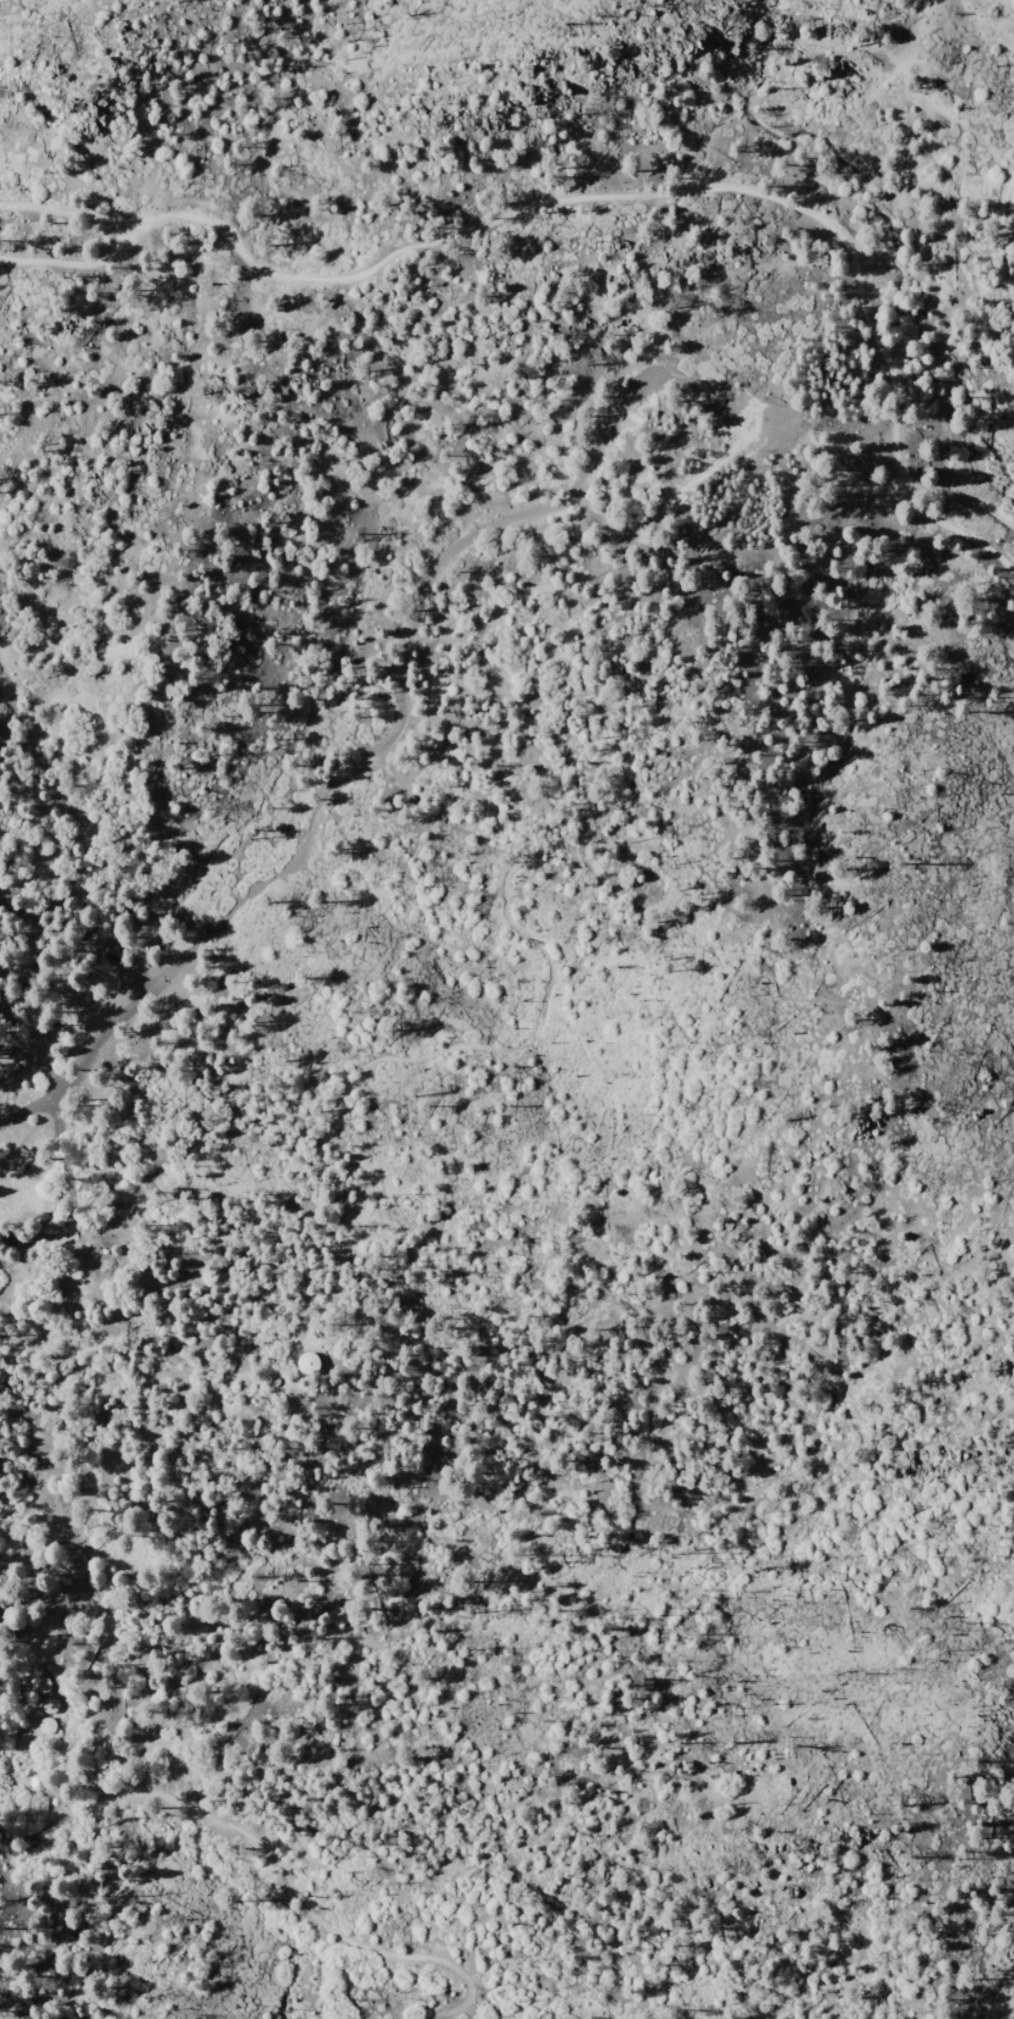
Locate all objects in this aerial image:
road: (607, 193)
road: (66, 213)
road: (999, 251)
road: (75, 261)
road: (844, 472)
road: (959, 501)
road: (953, 532)
road: (405, 700)
road: (39, 972)
road: (70, 1191)
building: (42, 1684)
building: (48, 1706)
building: (46, 1725)
road: (14, 1836)
road: (270, 1854)
road: (454, 2011)

